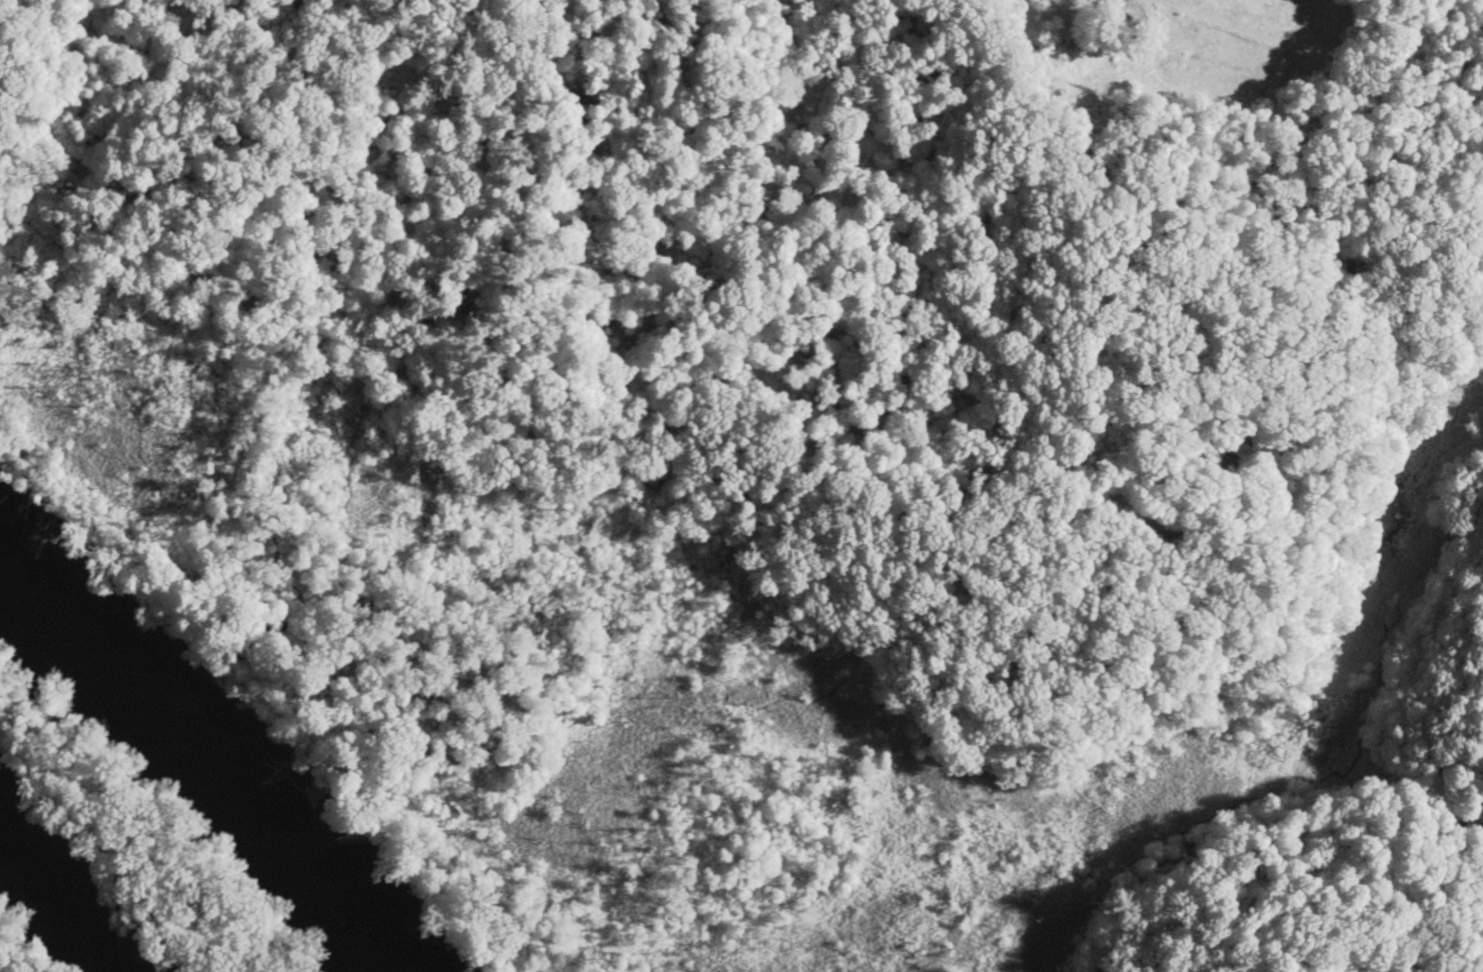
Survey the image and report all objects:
road: (365, 236)
river: (208, 759)

